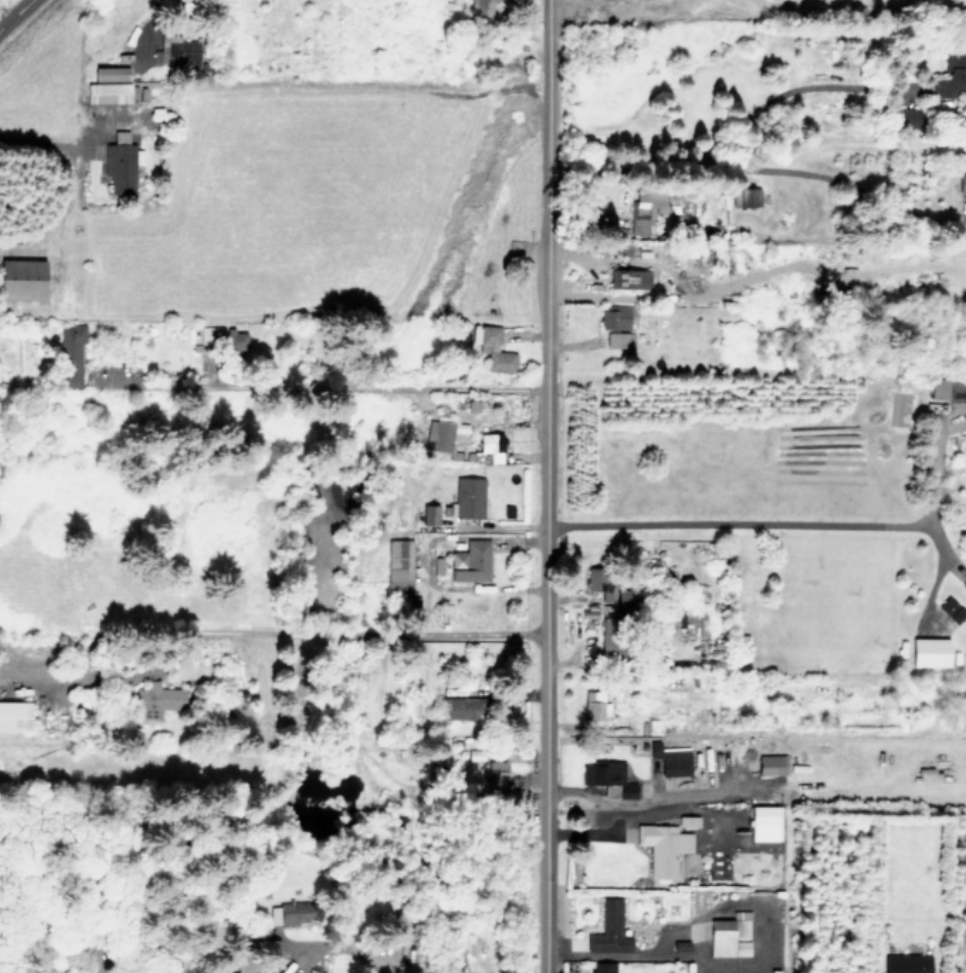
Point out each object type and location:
building: (483, 10)
road: (14, 13)
road: (160, 14)
building: (175, 52)
building: (111, 73)
building: (951, 75)
building: (108, 92)
building: (907, 117)
road: (747, 121)
road: (82, 147)
building: (121, 162)
road: (758, 167)
building: (962, 183)
building: (746, 196)
building: (643, 208)
building: (621, 248)
building: (22, 278)
building: (629, 278)
building: (616, 316)
building: (211, 334)
building: (236, 339)
building: (620, 339)
building: (494, 349)
building: (70, 354)
road: (320, 388)
building: (948, 389)
building: (440, 435)
building: (489, 447)
road: (934, 474)
road: (545, 486)
building: (469, 497)
building: (430, 514)
road: (734, 527)
building: (471, 562)
building: (399, 563)
building: (599, 582)
building: (964, 584)
building: (625, 597)
building: (952, 610)
road: (309, 631)
building: (613, 639)
building: (930, 652)
building: (156, 701)
building: (594, 705)
building: (462, 708)
building: (15, 715)
building: (671, 759)
building: (771, 765)
building: (495, 776)
building: (608, 779)
road: (645, 800)
road: (683, 801)
road: (642, 816)
building: (765, 823)
building: (663, 847)
building: (295, 913)
building: (609, 929)
building: (730, 935)
road: (334, 943)
road: (639, 954)
building: (907, 963)
building: (603, 967)
building: (313, 971)

